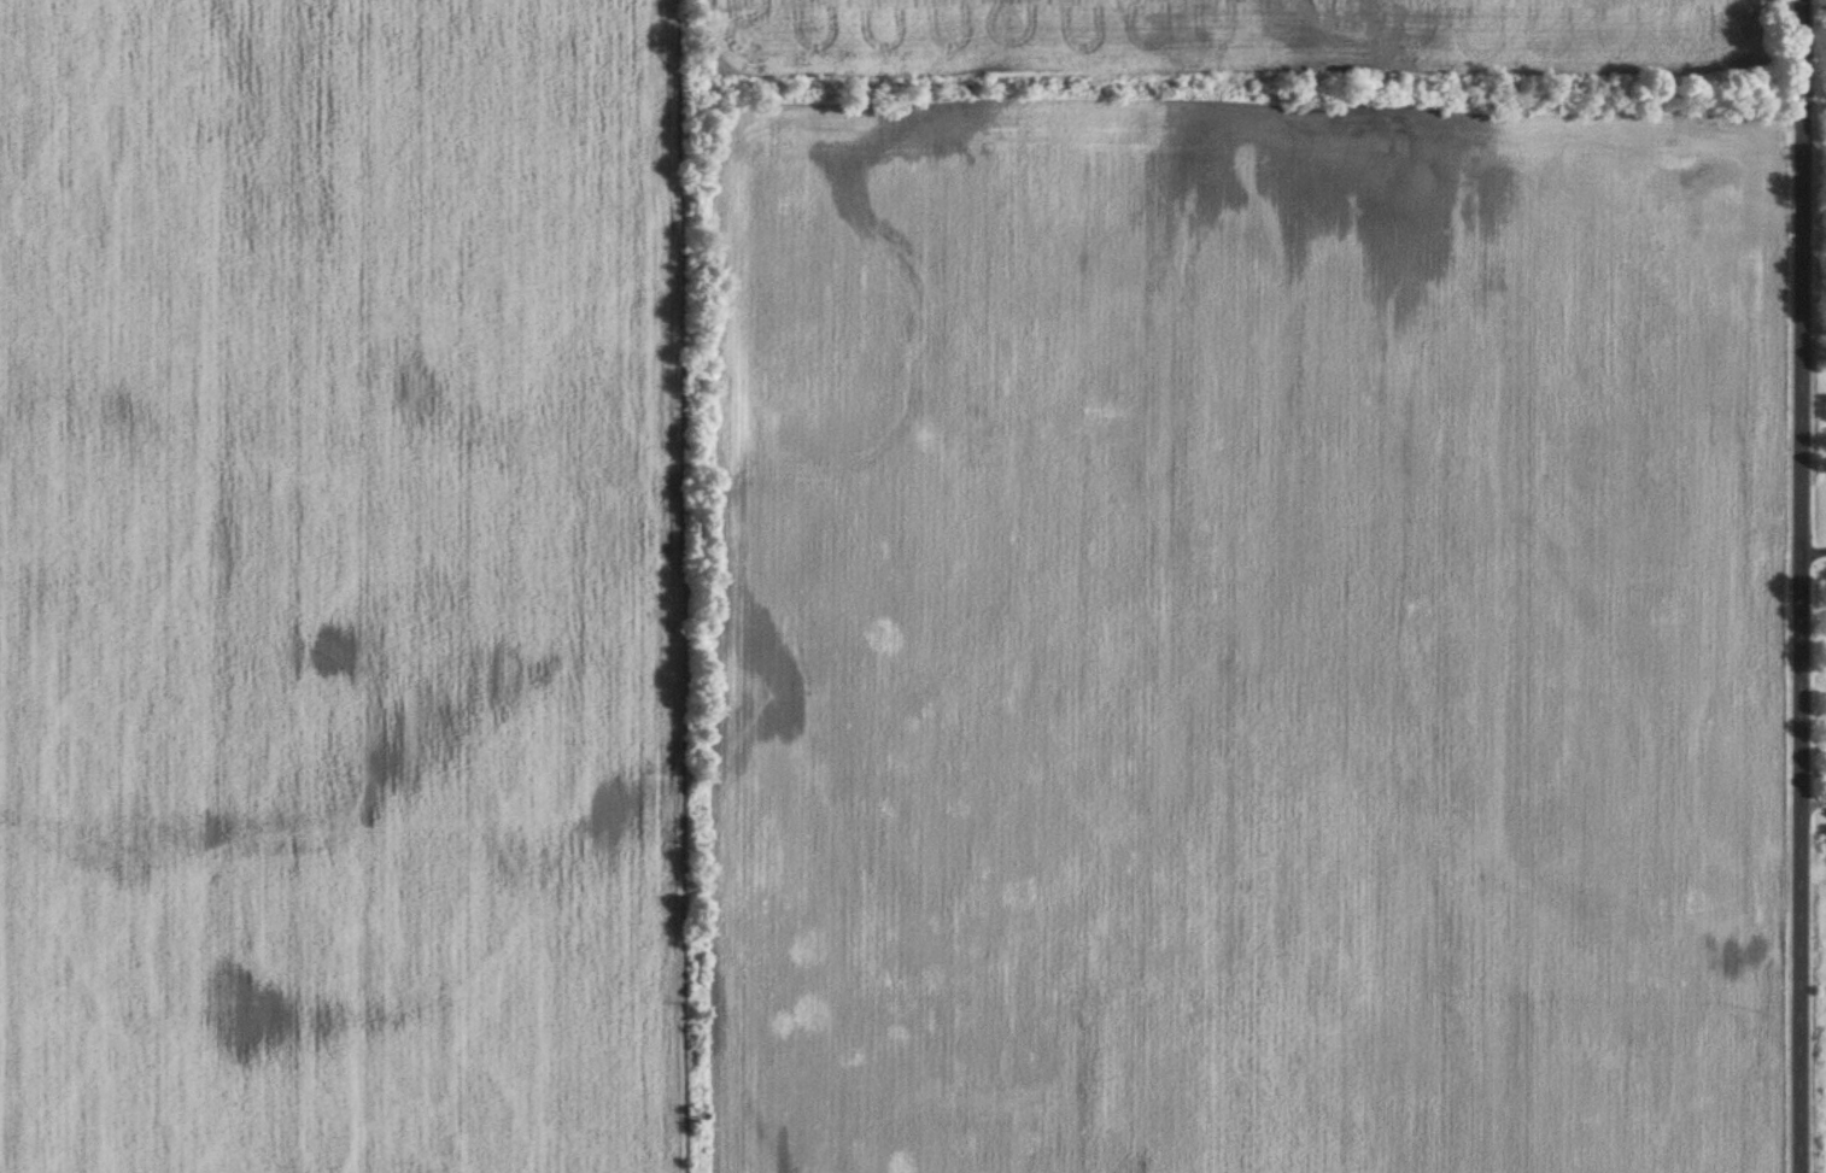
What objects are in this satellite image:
road: (1814, 550)
road: (1803, 586)

